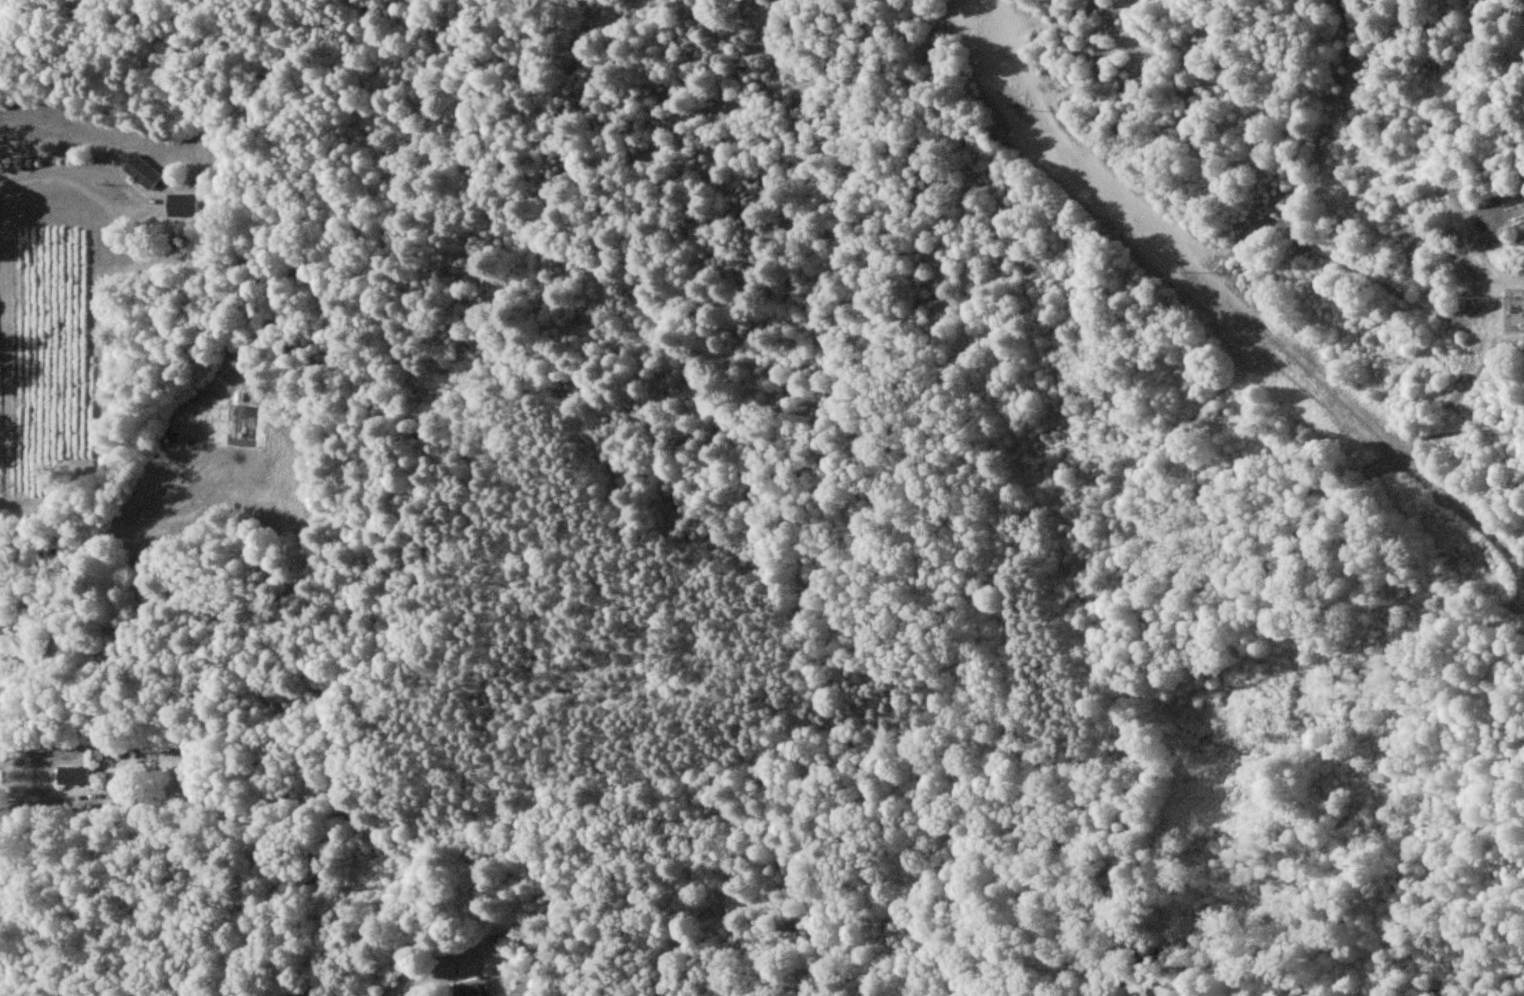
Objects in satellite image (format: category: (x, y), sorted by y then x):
building: (142, 171)
road: (30, 175)
road: (141, 202)
building: (183, 204)
building: (71, 775)
building: (469, 990)

